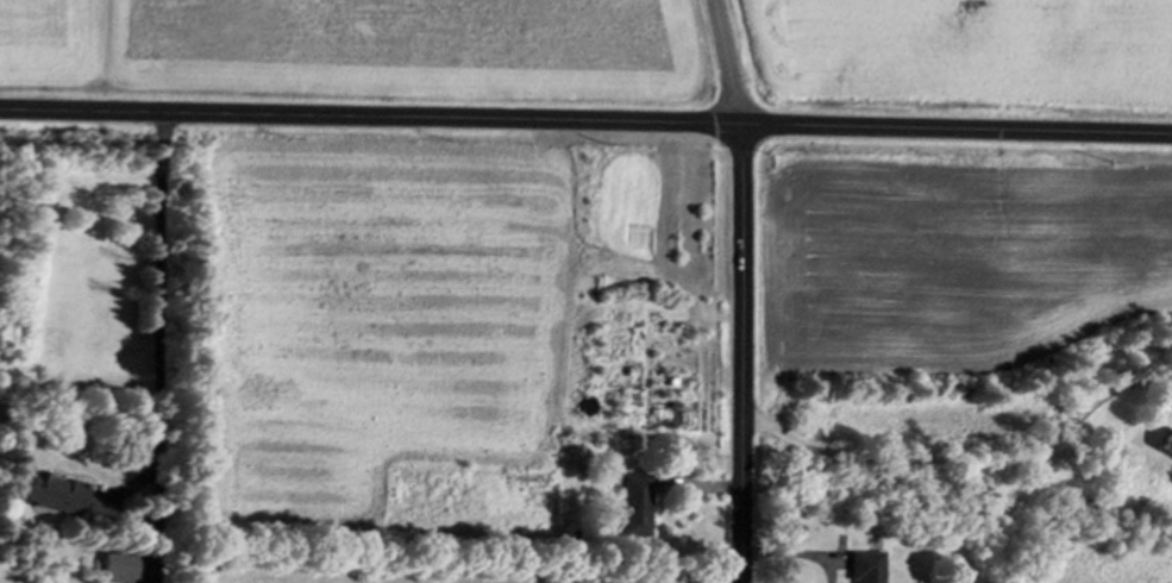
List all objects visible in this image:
crop: (357, 48)
crop: (965, 54)
road: (585, 124)
road: (740, 289)
road: (162, 338)
building: (1161, 449)
road: (1038, 452)
building: (46, 497)
building: (628, 509)
building: (859, 569)
building: (114, 571)

